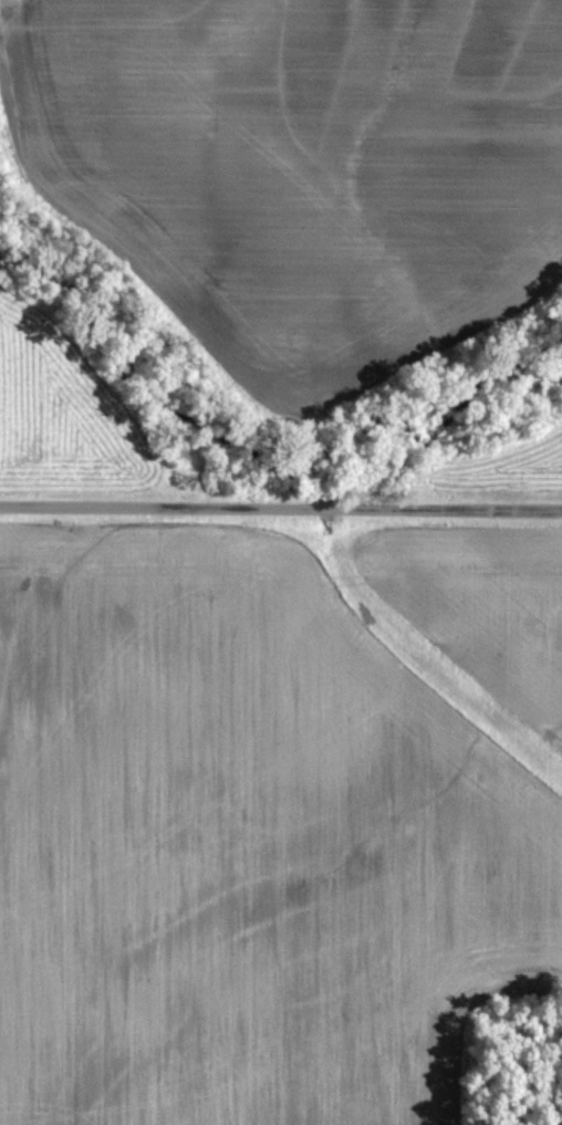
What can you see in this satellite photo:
road: (281, 497)

